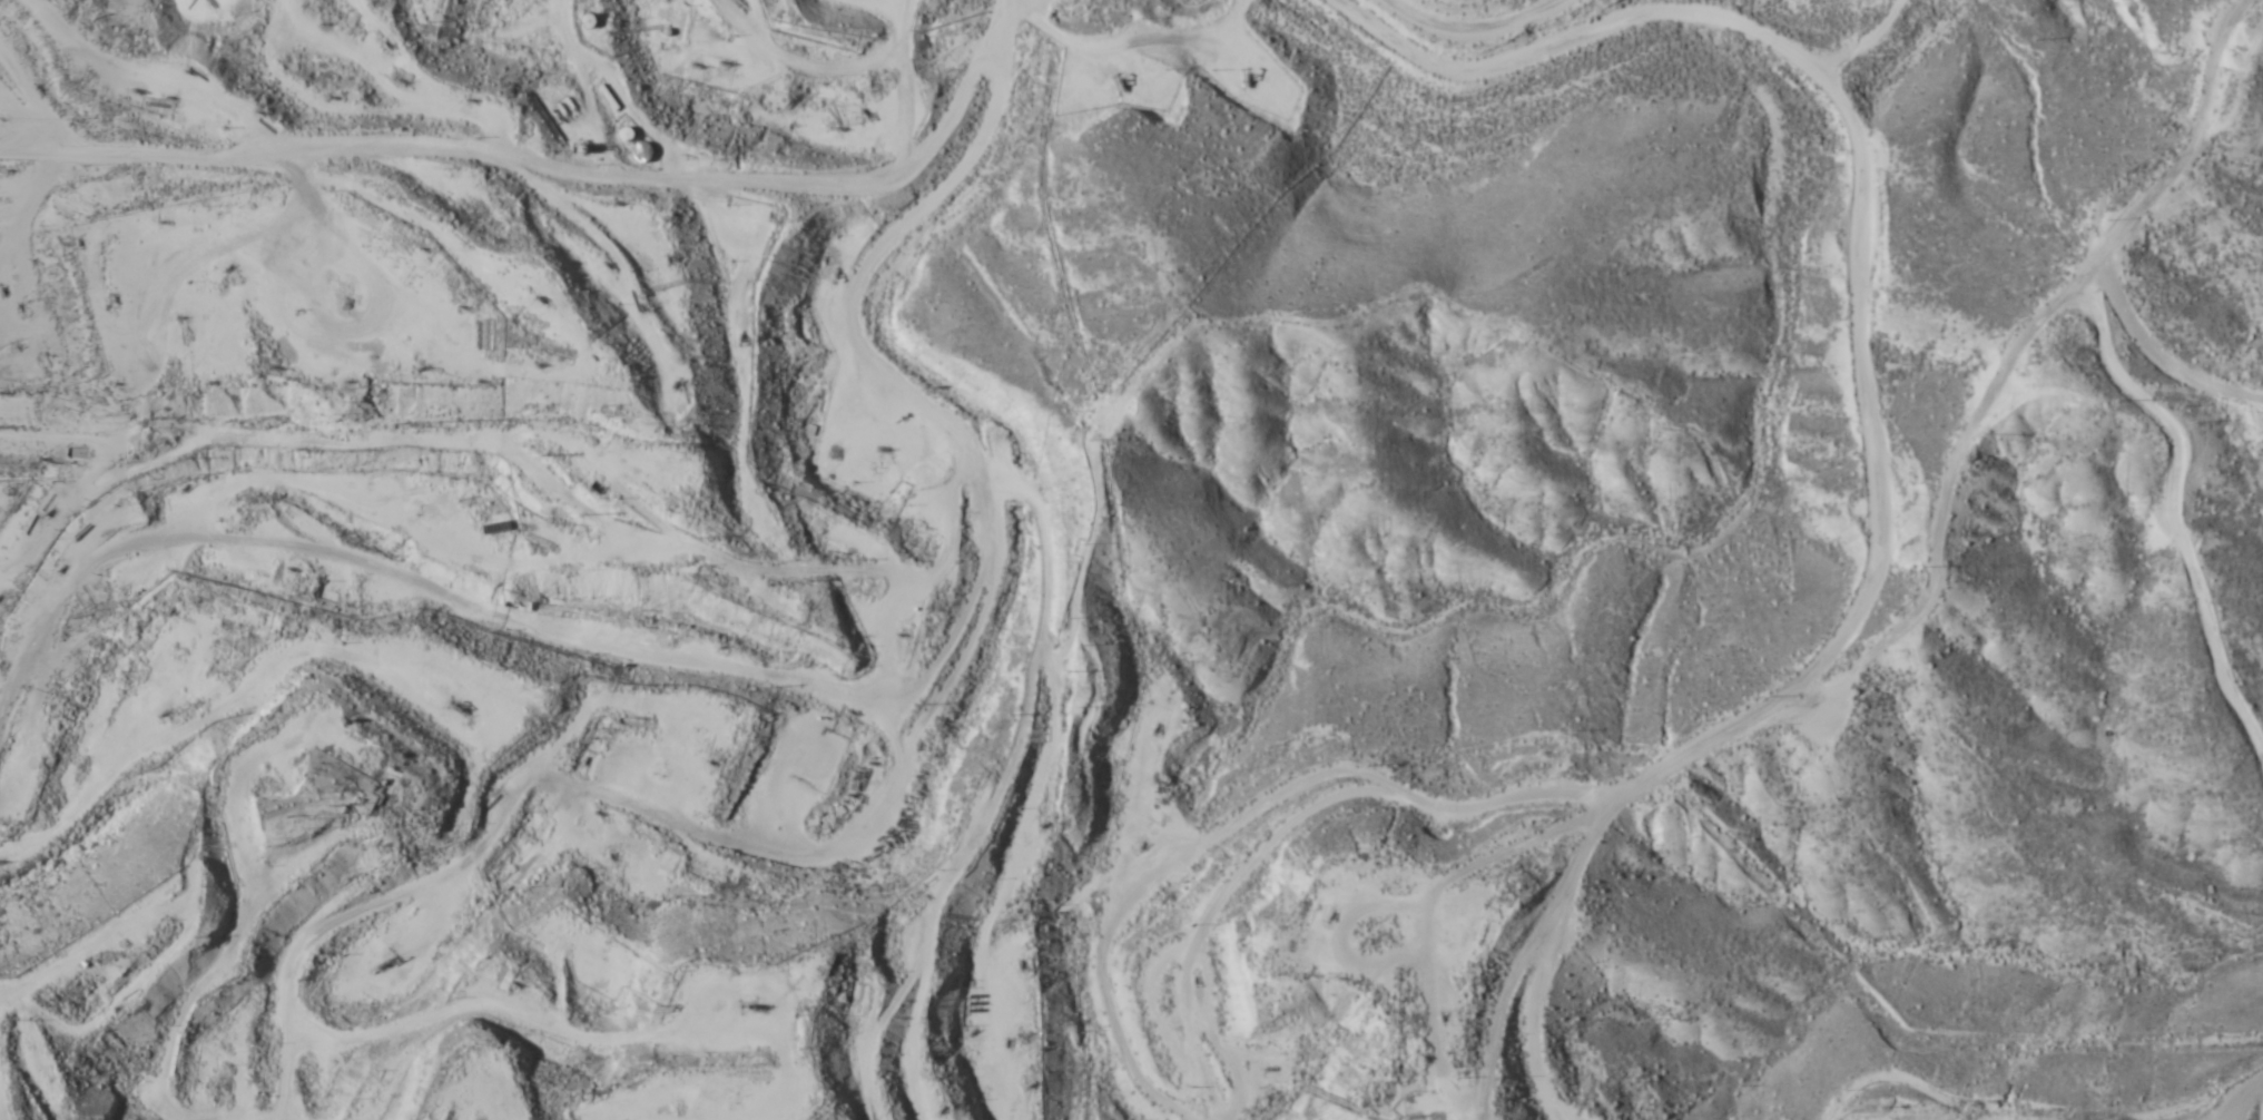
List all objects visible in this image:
building: (665, 10)
road: (749, 27)
road: (1480, 28)
road: (157, 86)
building: (623, 134)
building: (637, 153)
road: (558, 175)
road: (896, 377)
road: (531, 632)
road: (1807, 703)
road: (485, 766)
road: (1050, 769)
building: (531, 826)
building: (860, 848)
building: (662, 863)
road: (80, 962)
road: (504, 1024)
road: (2040, 1109)
road: (239, 1118)

